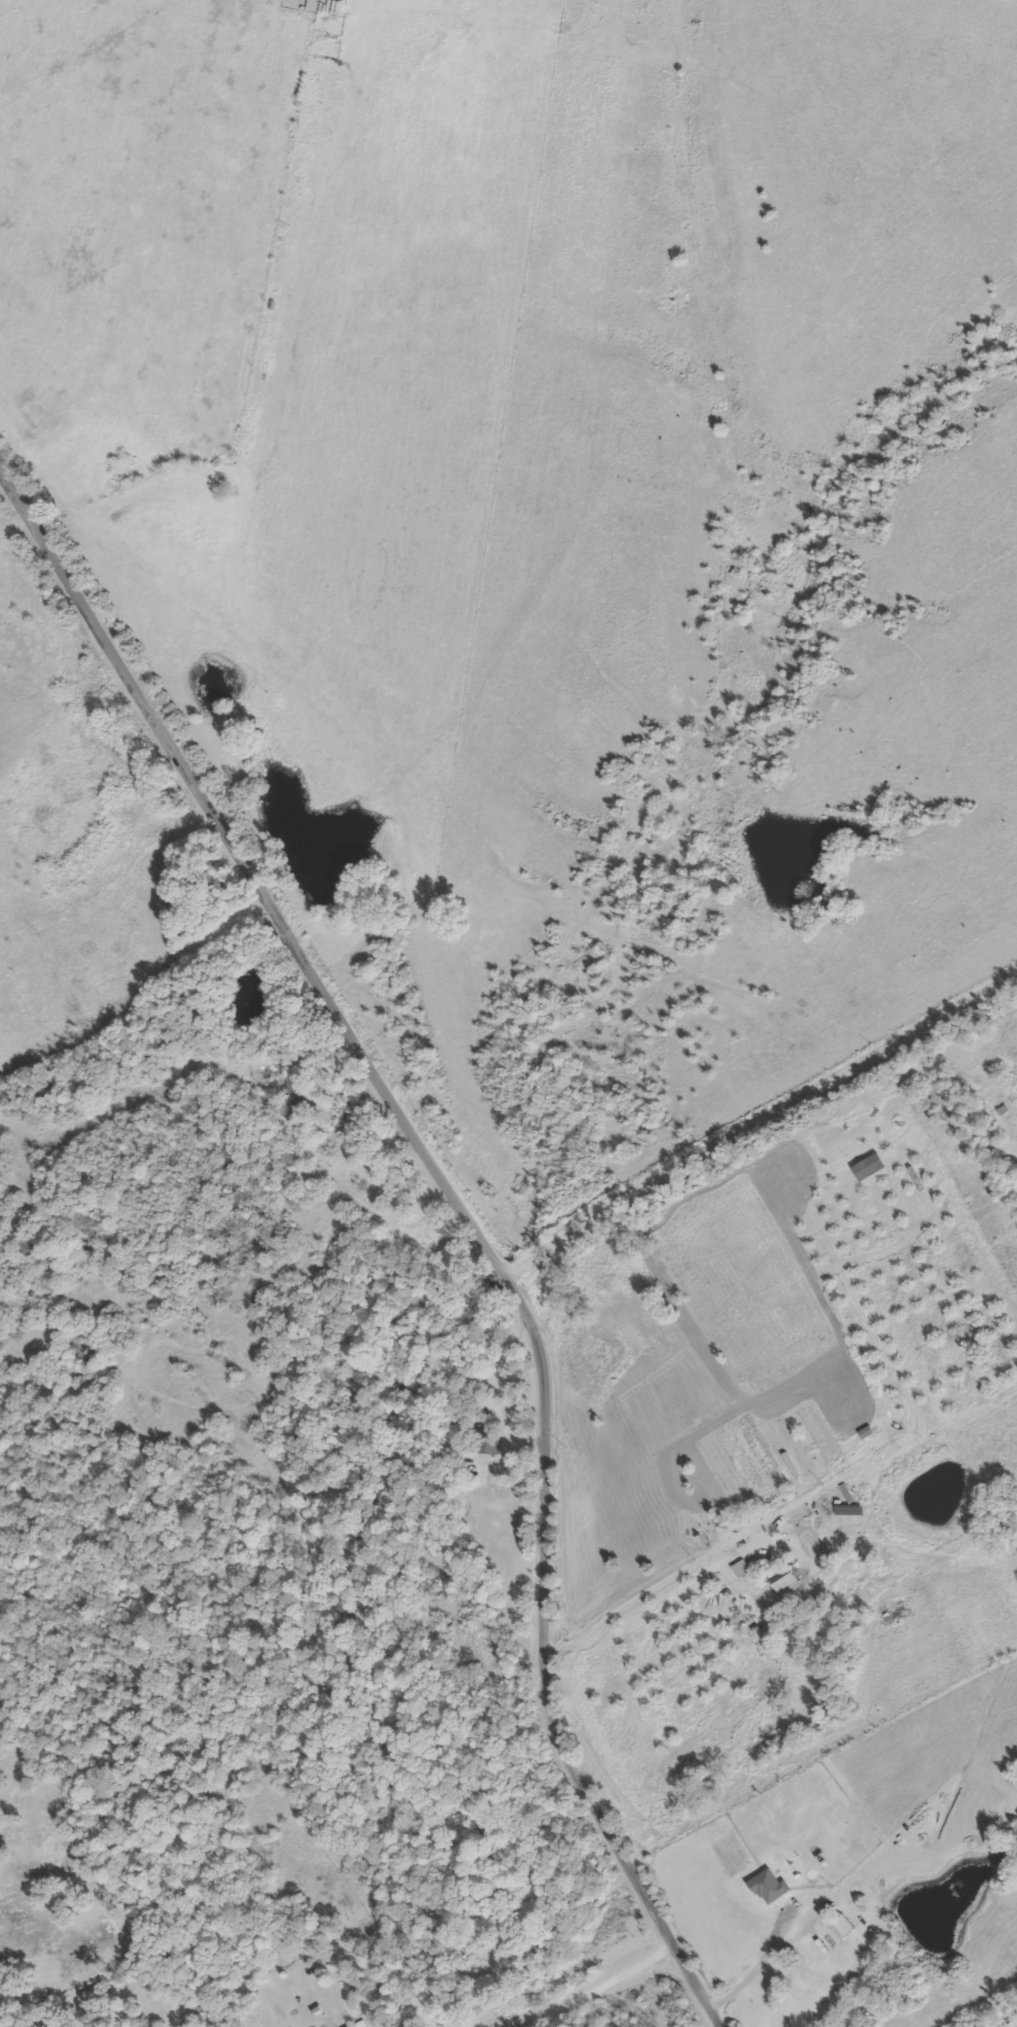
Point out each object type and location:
road: (252, 871)
building: (295, 1100)
road: (759, 1120)
road: (667, 1339)
building: (490, 1444)
building: (742, 1569)
building: (786, 1580)
road: (544, 1668)
building: (770, 1887)
building: (843, 1924)
road: (774, 1962)
building: (362, 2024)
building: (354, 2026)

